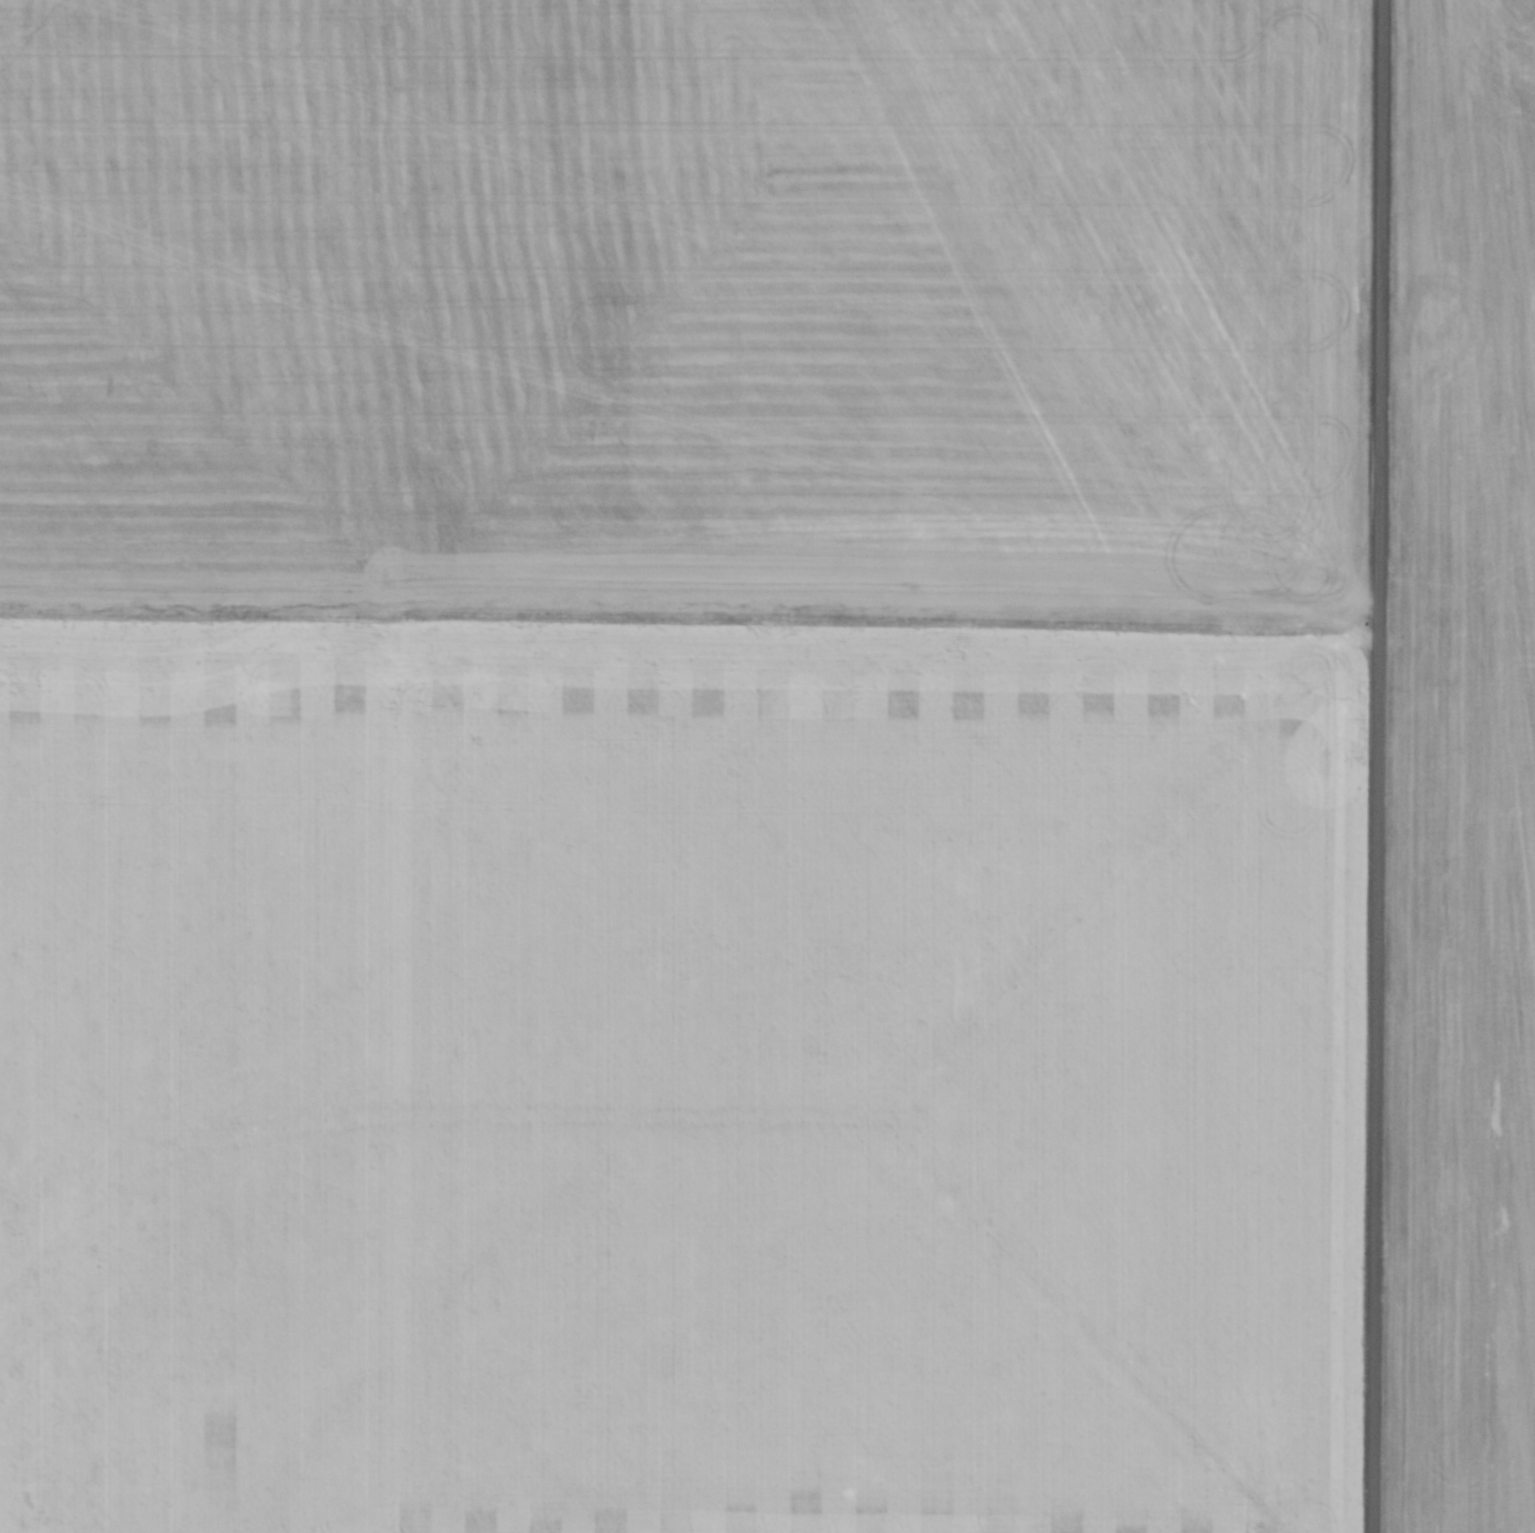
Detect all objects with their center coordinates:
road: (1376, 766)

